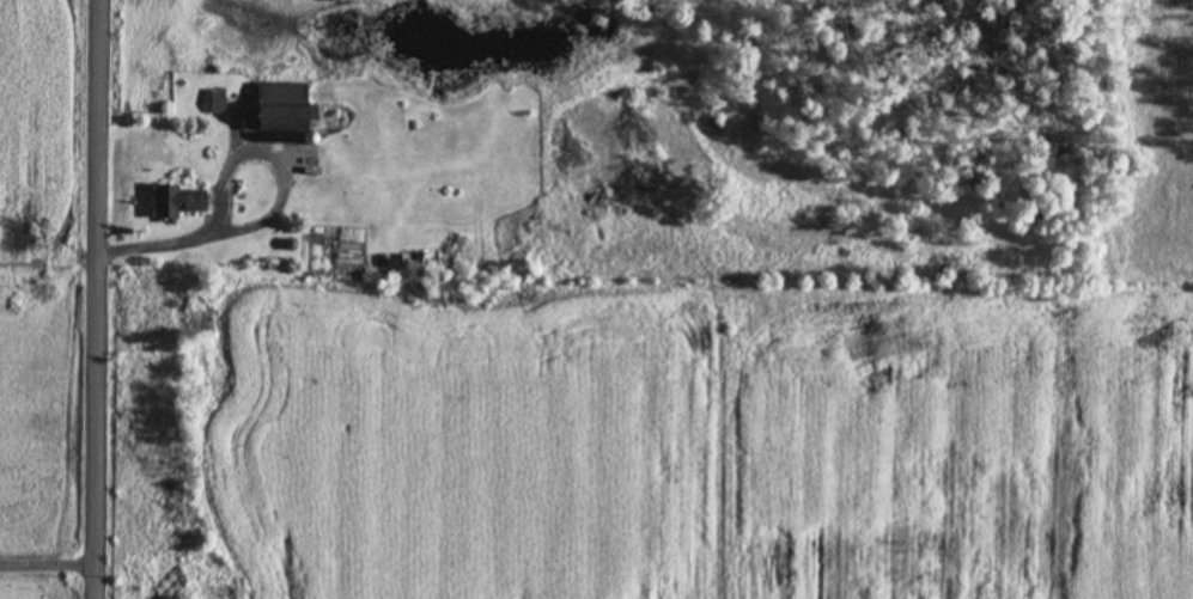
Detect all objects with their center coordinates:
building: (217, 103)
building: (275, 109)
building: (176, 203)
road: (116, 299)
road: (55, 563)

